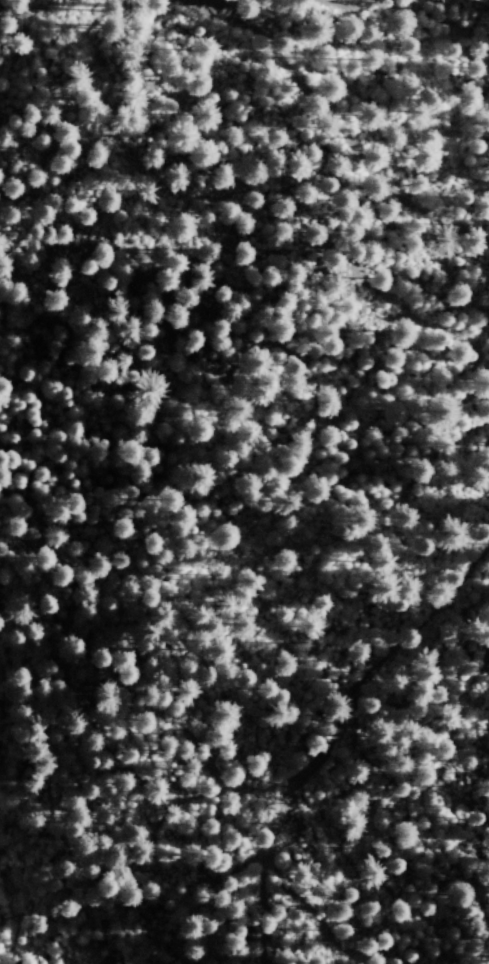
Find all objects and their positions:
road: (333, 1)
road: (344, 135)

